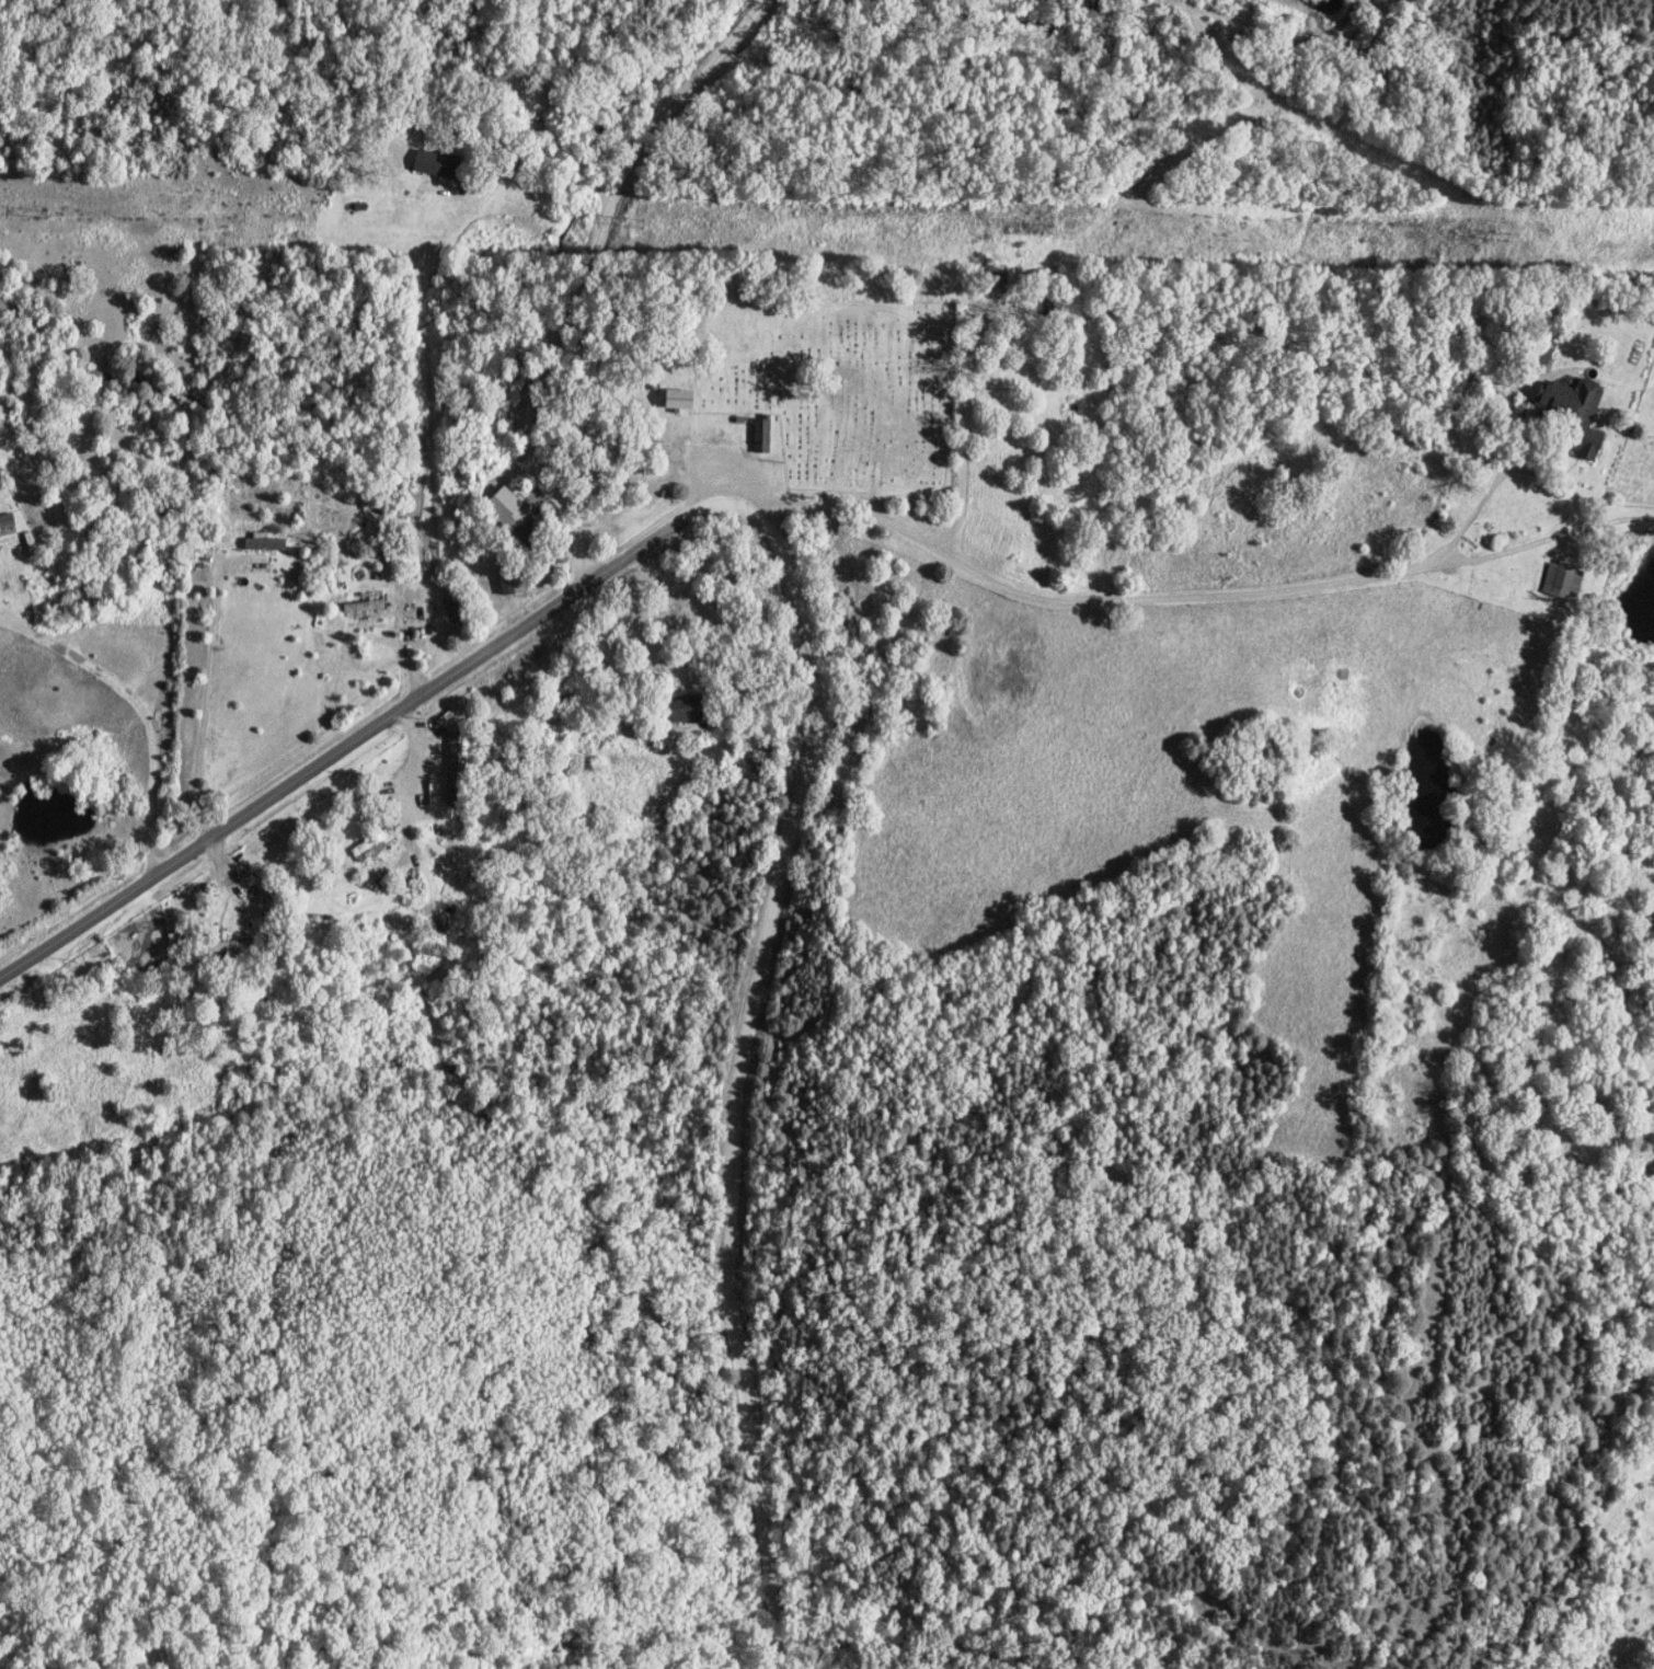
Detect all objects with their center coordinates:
building: (440, 164)
building: (999, 272)
road: (576, 277)
park: (838, 390)
building: (1573, 399)
building: (682, 400)
building: (763, 436)
road: (966, 441)
building: (1594, 445)
building: (508, 507)
building: (8, 520)
road: (877, 521)
building: (266, 542)
road: (1546, 545)
building: (1564, 582)
building: (514, 584)
road: (1282, 590)
building: (366, 607)
road: (140, 706)
building: (688, 709)
road: (365, 732)
building: (459, 771)
building: (372, 847)
road: (736, 1067)

